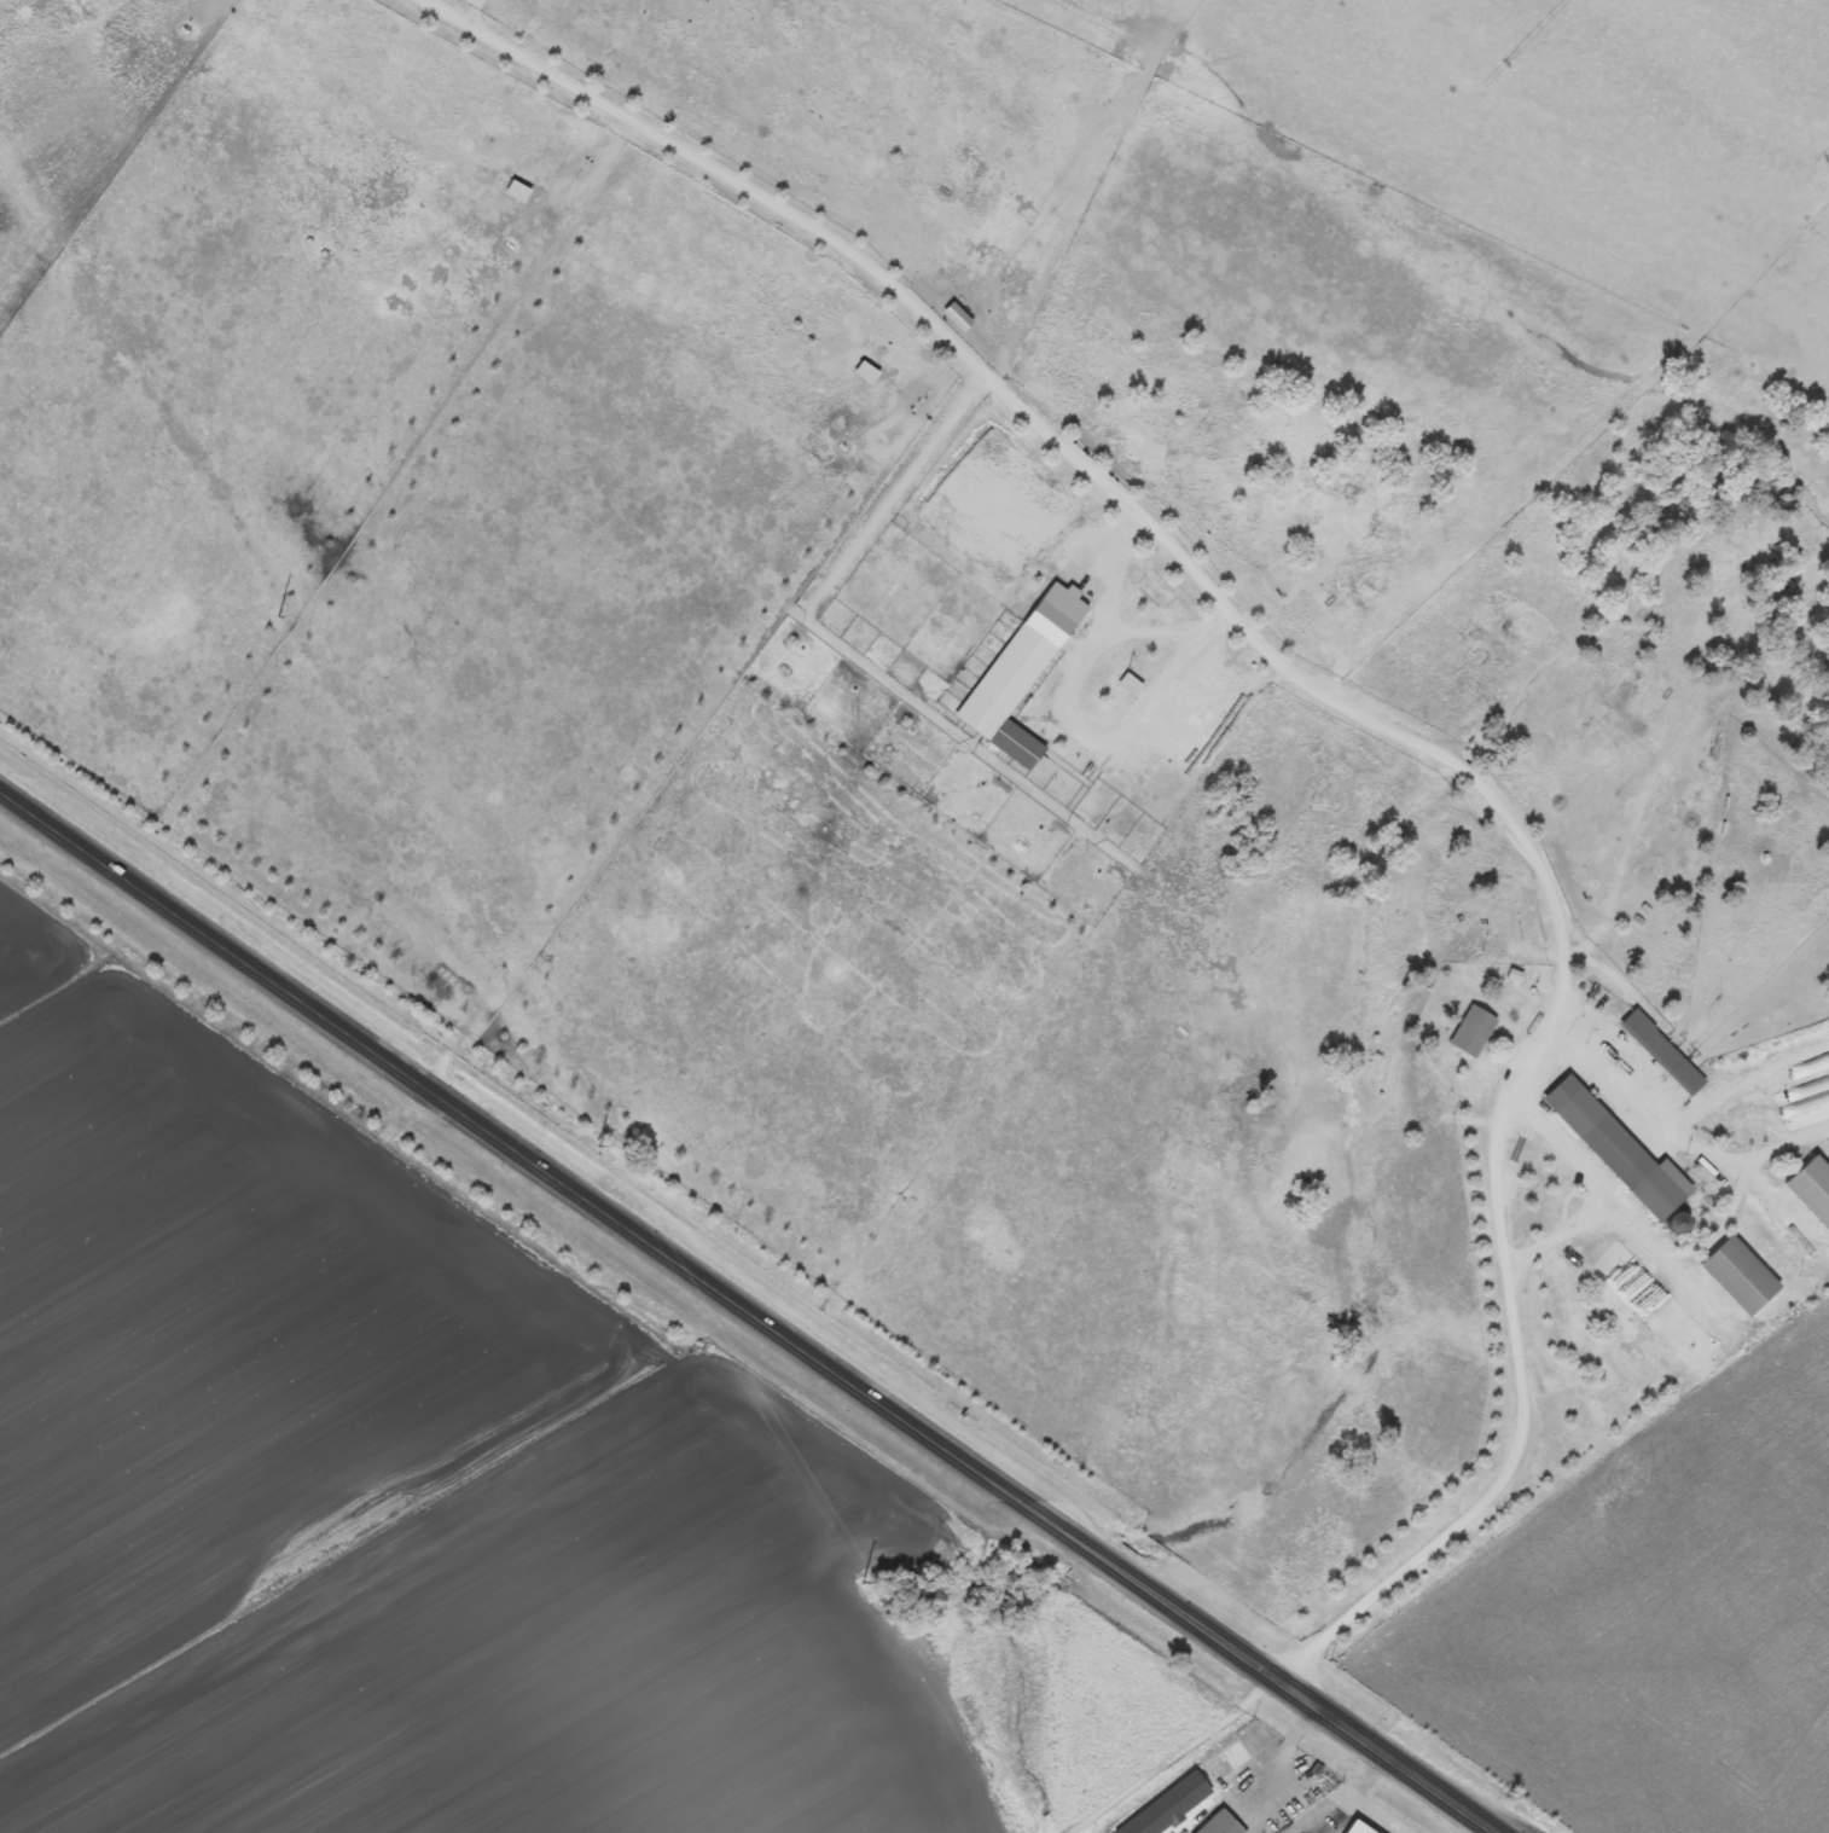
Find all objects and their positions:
power tower: (278, 615)
building: (1473, 1031)
building: (1656, 1057)
power tower: (597, 1144)
building: (1613, 1148)
road: (654, 1228)
building: (1740, 1276)
road: (750, 1310)
power tower: (861, 1580)
building: (1229, 1762)
building: (1221, 1823)
building: (1358, 1828)

